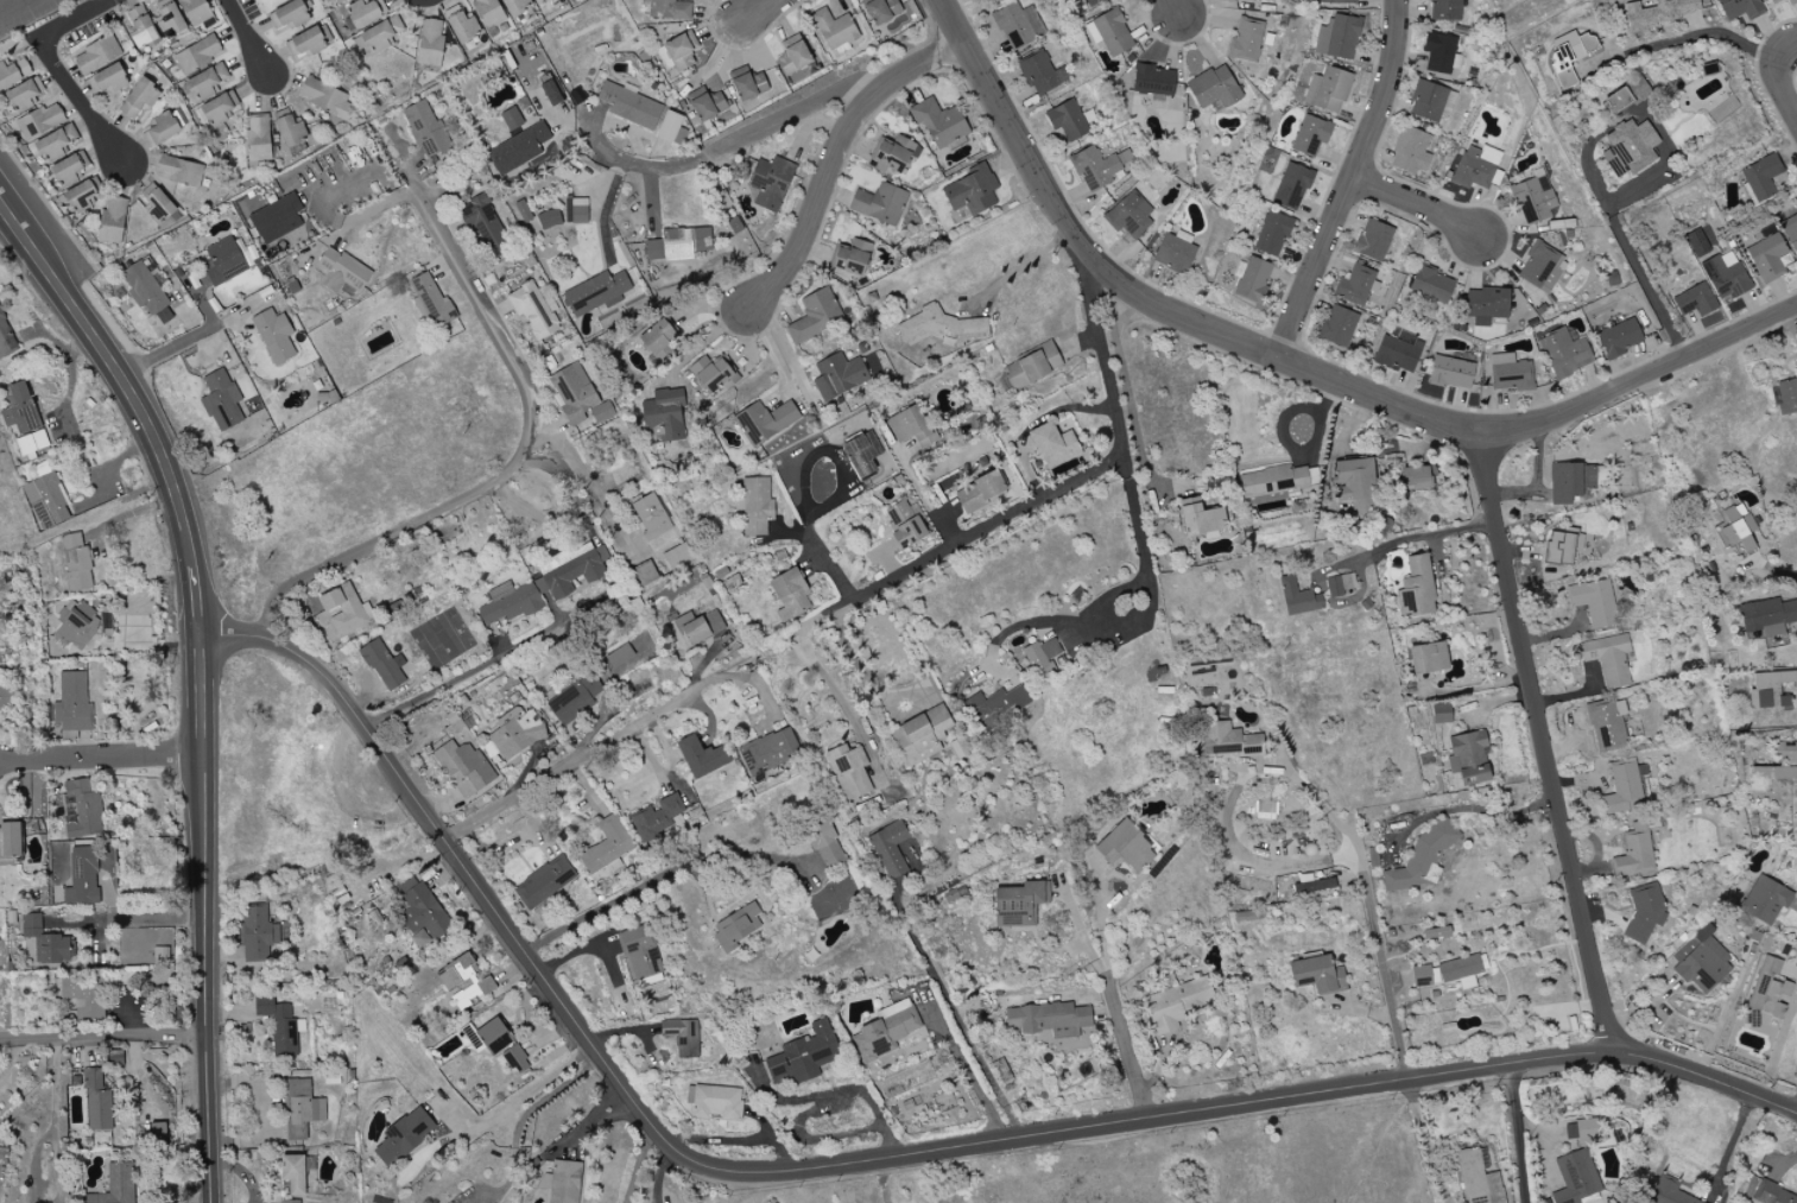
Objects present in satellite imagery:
building: (328, 0)
building: (1234, 0)
road: (4, 1)
building: (338, 1)
building: (1090, 1)
building: (1336, 1)
building: (1773, 1)
building: (1791, 1)
building: (539, 2)
building: (517, 6)
road: (1173, 7)
building: (1739, 8)
building: (669, 10)
building: (1444, 10)
building: (195, 11)
building: (882, 11)
building: (365, 12)
road: (755, 12)
building: (1660, 12)
building: (488, 13)
building: (289, 14)
road: (69, 19)
building: (170, 21)
building: (1018, 25)
building: (141, 27)
building: (463, 27)
building: (834, 30)
building: (1109, 33)
road: (1713, 33)
building: (378, 36)
road: (247, 37)
building: (1337, 38)
building: (1246, 40)
building: (309, 42)
building: (430, 43)
building: (681, 51)
building: (1438, 52)
building: (197, 55)
building: (96, 56)
building: (792, 56)
building: (1569, 56)
building: (14, 72)
building: (1040, 74)
building: (108, 80)
building: (1153, 81)
road: (1782, 81)
building: (207, 82)
building: (754, 84)
building: (1214, 88)
building: (1328, 89)
building: (552, 93)
building: (25, 95)
building: (576, 96)
building: (325, 97)
building: (139, 99)
road: (78, 100)
building: (1618, 100)
building: (1431, 101)
building: (711, 105)
building: (629, 106)
building: (219, 108)
building: (511, 119)
building: (1067, 120)
building: (40, 121)
building: (939, 122)
building: (669, 126)
building: (163, 128)
building: (425, 129)
building: (292, 135)
building: (1310, 135)
building: (258, 139)
road: (733, 140)
building: (55, 144)
building: (1627, 147)
building: (518, 148)
building: (1410, 151)
road: (839, 152)
building: (893, 154)
building: (1099, 166)
building: (1475, 167)
building: (69, 169)
building: (181, 171)
road: (608, 177)
building: (1760, 178)
road: (1644, 181)
road: (1352, 182)
building: (771, 183)
building: (1292, 185)
building: (972, 190)
building: (82, 196)
building: (1533, 200)
road: (48, 202)
building: (880, 203)
road: (1415, 205)
building: (159, 207)
building: (576, 210)
building: (1128, 215)
building: (277, 219)
building: (549, 220)
building: (337, 221)
building: (112, 222)
building: (486, 226)
building: (1790, 232)
building: (1272, 234)
building: (1373, 240)
building: (1697, 243)
building: (678, 245)
building: (1173, 254)
building: (1767, 255)
building: (853, 258)
building: (223, 260)
building: (1540, 267)
road: (1017, 268)
building: (341, 272)
building: (1725, 276)
building: (1251, 279)
building: (1356, 285)
building: (1431, 286)
building: (147, 289)
building: (597, 292)
building: (430, 300)
building: (1695, 300)
building: (1486, 305)
building: (533, 311)
building: (814, 317)
building: (938, 324)
building: (1336, 327)
building: (274, 336)
building: (658, 336)
building: (1619, 337)
building: (6, 338)
road: (183, 342)
building: (1398, 350)
road: (785, 353)
building: (1563, 354)
road: (1299, 365)
road: (118, 367)
building: (1031, 367)
building: (1450, 373)
building: (1510, 373)
building: (714, 374)
building: (839, 376)
building: (577, 397)
building: (1785, 398)
building: (221, 400)
building: (20, 410)
building: (665, 414)
building: (765, 422)
building: (911, 426)
building: (32, 443)
building: (1053, 445)
building: (861, 454)
road: (518, 463)
building: (1416, 477)
building: (1570, 481)
road: (590, 483)
building: (1274, 483)
building: (1356, 485)
road: (1068, 487)
building: (980, 493)
road: (920, 500)
building: (46, 501)
building: (757, 506)
building: (651, 517)
building: (1201, 518)
building: (904, 524)
building: (1739, 533)
road: (1407, 544)
building: (1563, 546)
building: (679, 553)
building: (76, 563)
road: (825, 564)
building: (571, 570)
road: (1778, 571)
building: (644, 575)
road: (1152, 584)
building: (1416, 588)
building: (790, 594)
road: (196, 599)
building: (1298, 599)
building: (1594, 602)
building: (508, 603)
building: (343, 609)
building: (1768, 618)
building: (683, 620)
building: (106, 623)
building: (77, 627)
building: (702, 627)
building: (631, 656)
building: (1042, 657)
building: (1428, 658)
building: (1608, 659)
building: (384, 666)
road: (485, 667)
road: (829, 684)
building: (4, 689)
building: (1770, 690)
building: (574, 701)
building: (72, 703)
building: (996, 707)
building: (1441, 714)
building: (1607, 724)
building: (515, 733)
building: (922, 735)
building: (1227, 741)
road: (1544, 742)
building: (768, 751)
building: (1786, 751)
building: (701, 756)
building: (1469, 756)
road: (101, 759)
road: (568, 764)
building: (463, 768)
building: (849, 771)
building: (1773, 773)
building: (1625, 787)
road: (1463, 809)
building: (81, 810)
building: (658, 818)
building: (10, 840)
building: (825, 844)
building: (607, 846)
building: (1126, 848)
building: (892, 850)
building: (1634, 851)
building: (1420, 857)
building: (82, 878)
road: (658, 878)
building: (544, 882)
building: (1315, 886)
building: (1765, 900)
building: (1019, 904)
building: (420, 910)
road: (1369, 912)
building: (1644, 913)
road: (205, 917)
road: (133, 919)
building: (31, 925)
building: (736, 926)
road: (1101, 927)
road: (1081, 929)
building: (258, 933)
building: (1436, 933)
building: (56, 950)
building: (639, 952)
road: (572, 954)
building: (1703, 961)
building: (1461, 970)
building: (1317, 975)
building: (1422, 976)
building: (464, 982)
building: (1768, 989)
building: (82, 996)
building: (1177, 1003)
building: (280, 1026)
road: (526, 1026)
building: (885, 1032)
building: (494, 1036)
building: (763, 1036)
road: (102, 1037)
building: (682, 1037)
road: (1126, 1046)
building: (804, 1056)
building: (115, 1058)
building: (517, 1058)
road: (13, 1060)
road: (966, 1069)
road: (56, 1082)
road: (830, 1094)
road: (527, 1097)
building: (97, 1102)
building: (715, 1102)
building: (302, 1109)
building: (1582, 1132)
building: (157, 1134)
road: (1523, 1134)
building: (404, 1136)
road: (1423, 1142)
road: (1729, 1148)
building: (2, 1152)
road: (553, 1152)
road: (880, 1158)
road: (36, 1161)
road: (640, 1161)
road: (59, 1164)
road: (662, 1169)
building: (1478, 1179)
building: (1575, 1179)
building: (562, 1182)
building: (116, 1185)
building: (1669, 1191)
building: (1772, 1195)

